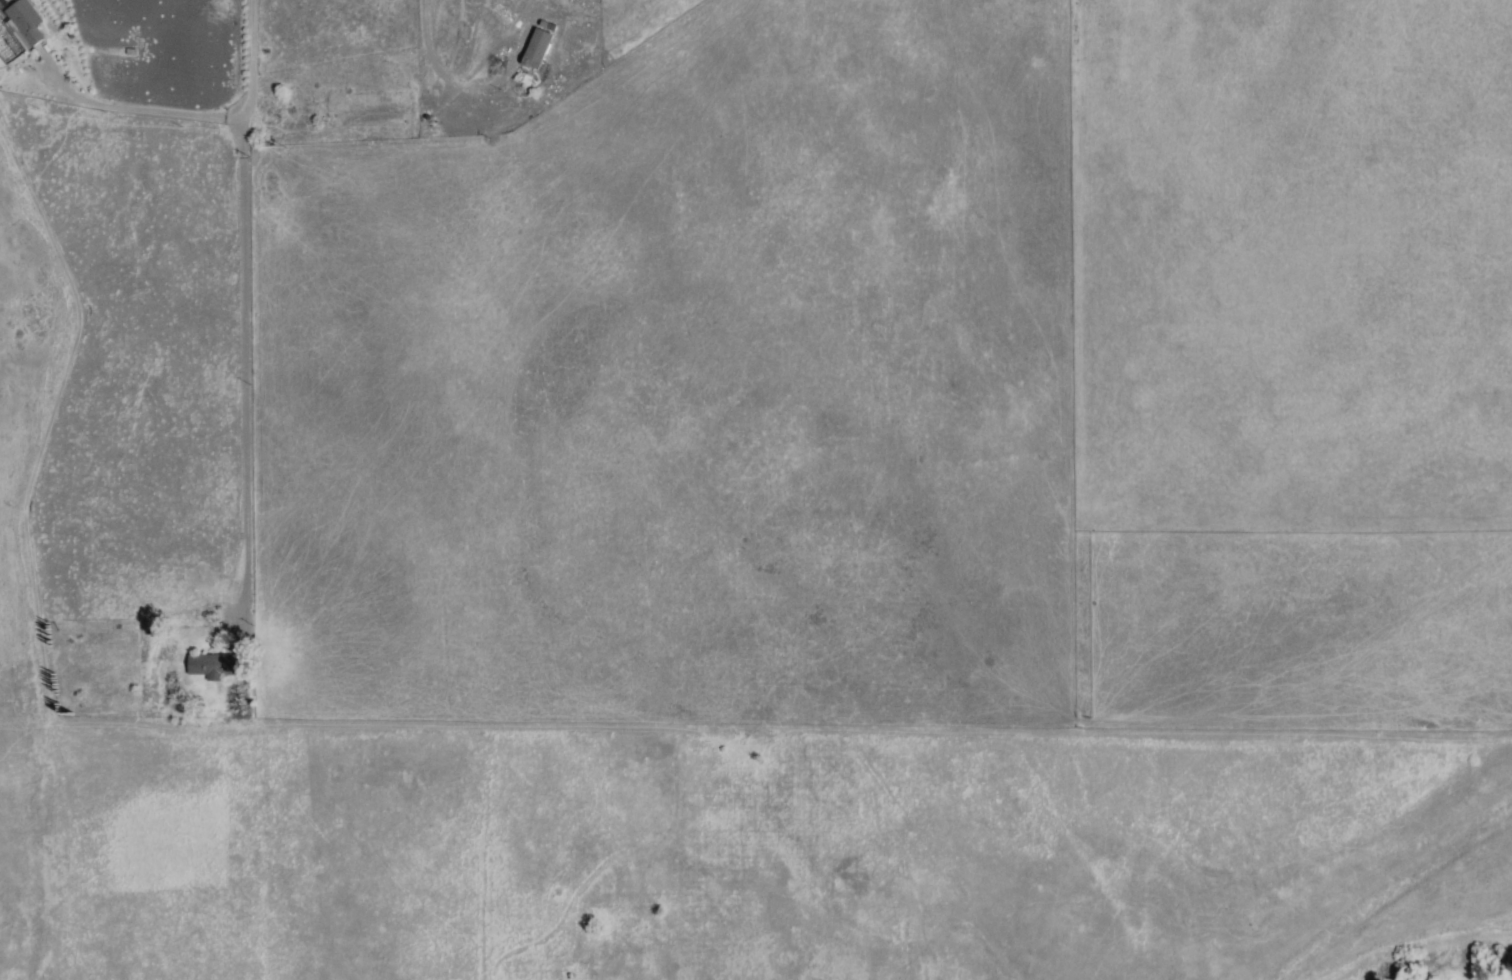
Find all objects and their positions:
building: (24, 21)
road: (439, 75)
road: (136, 112)
road: (244, 307)
building: (209, 666)

